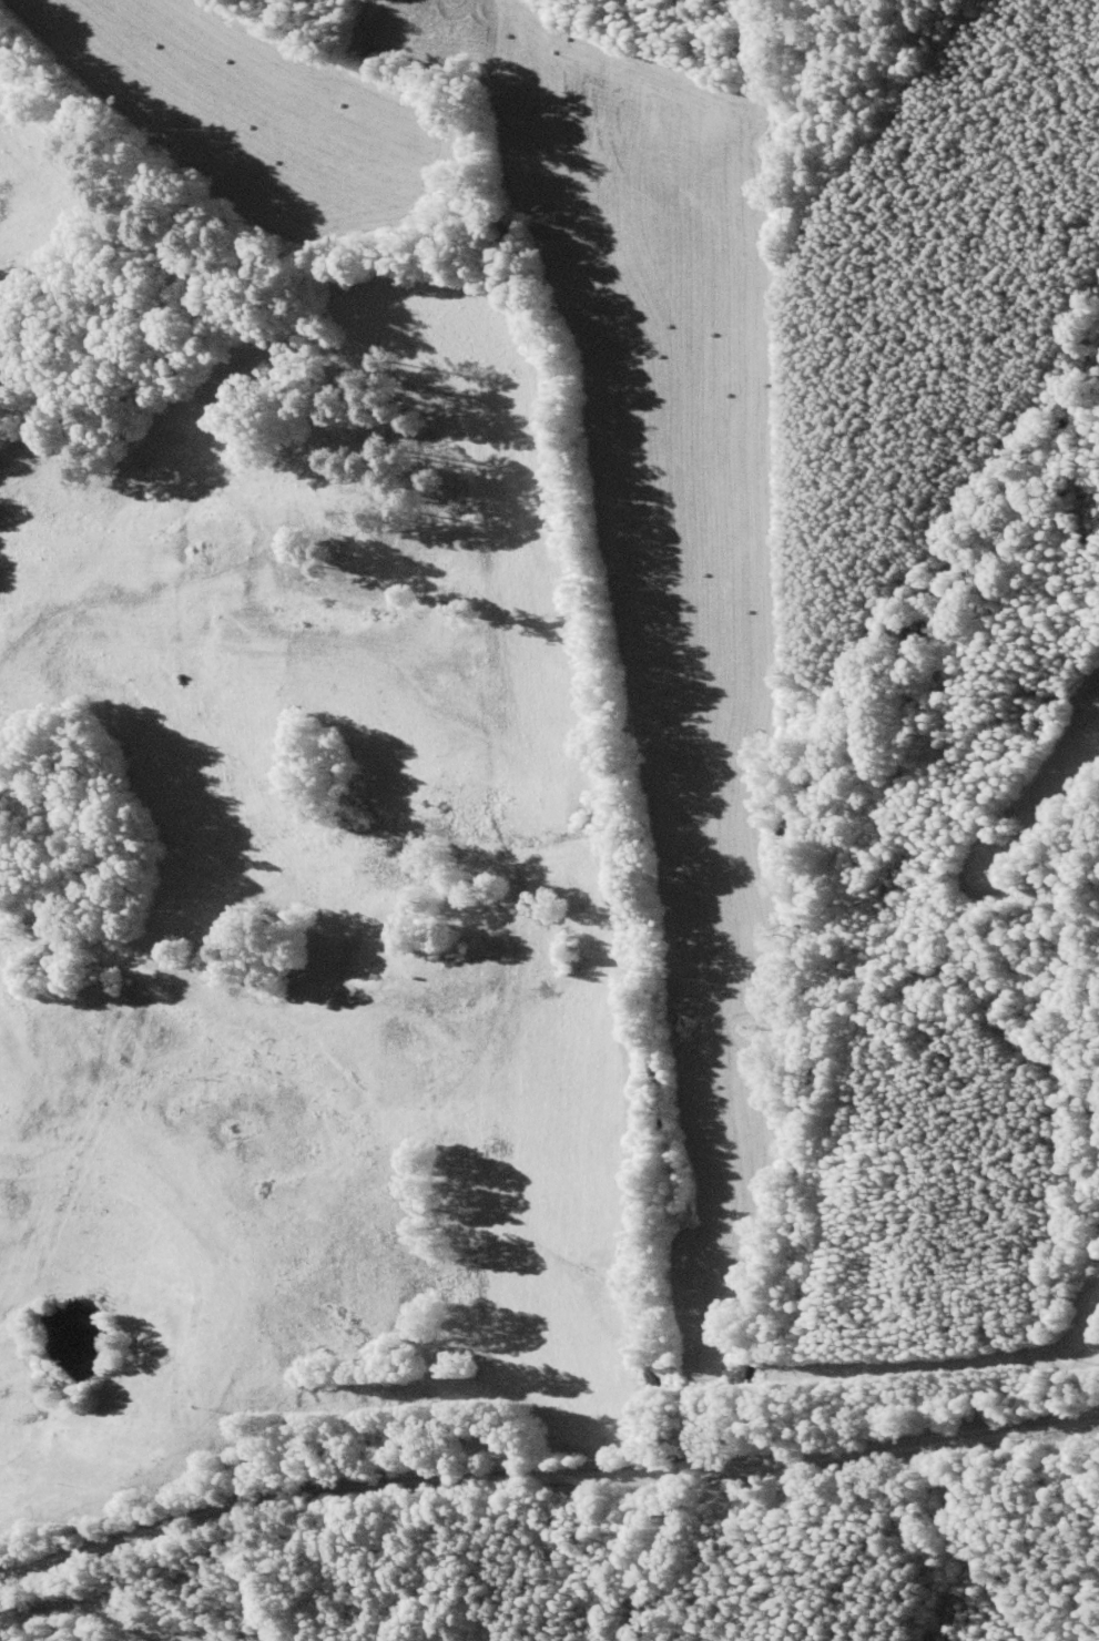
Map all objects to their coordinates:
road: (547, 1476)

